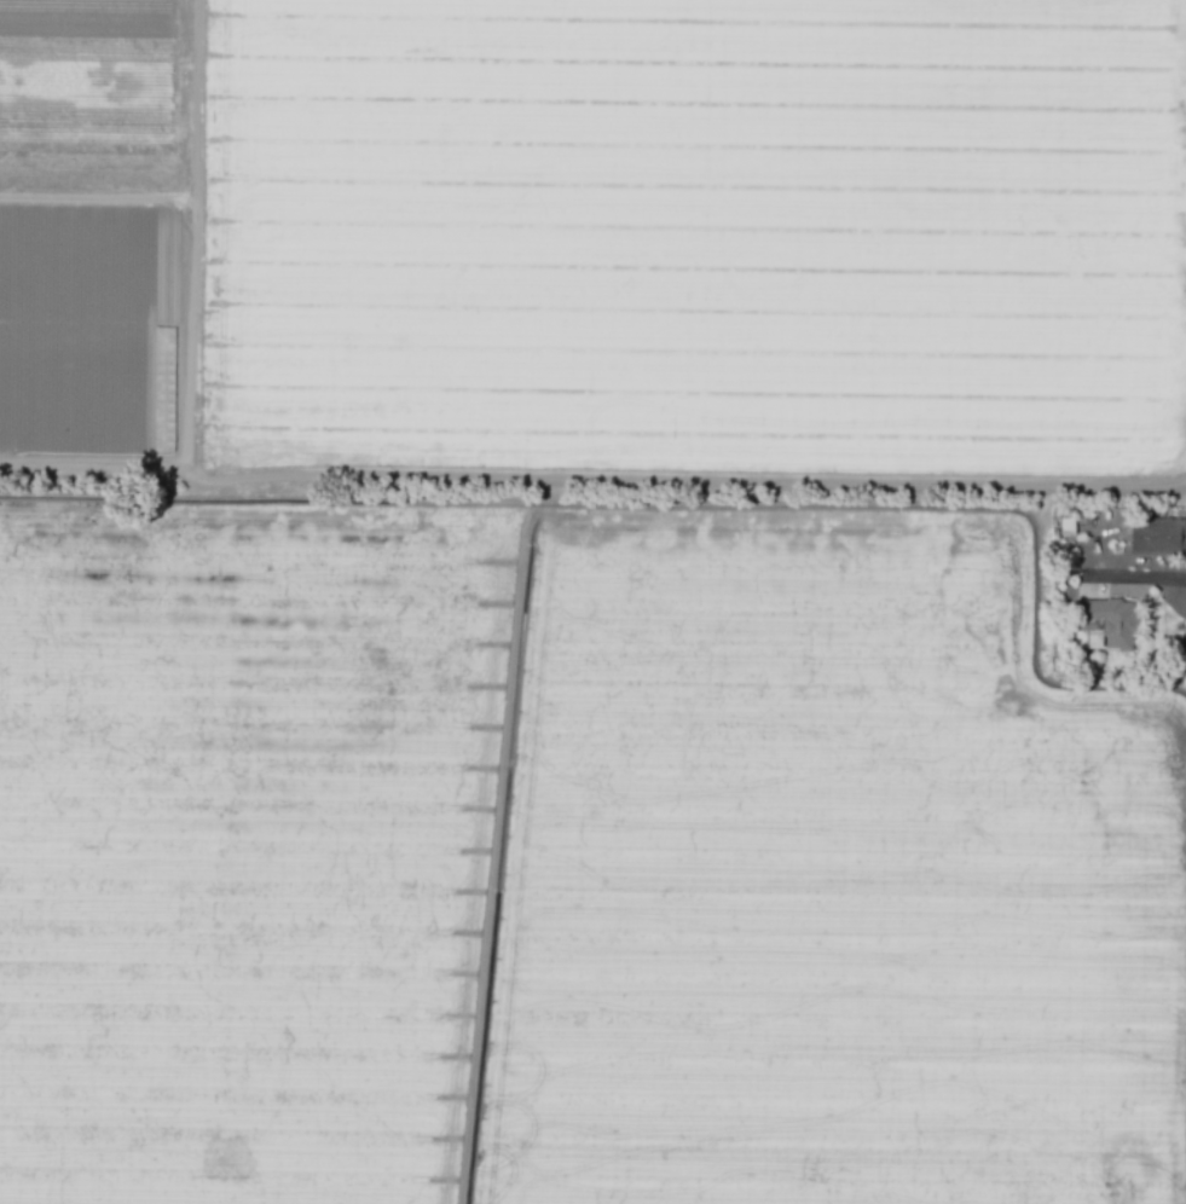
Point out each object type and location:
building: (1065, 525)
building: (1157, 536)
road: (1134, 577)
building: (1103, 624)

